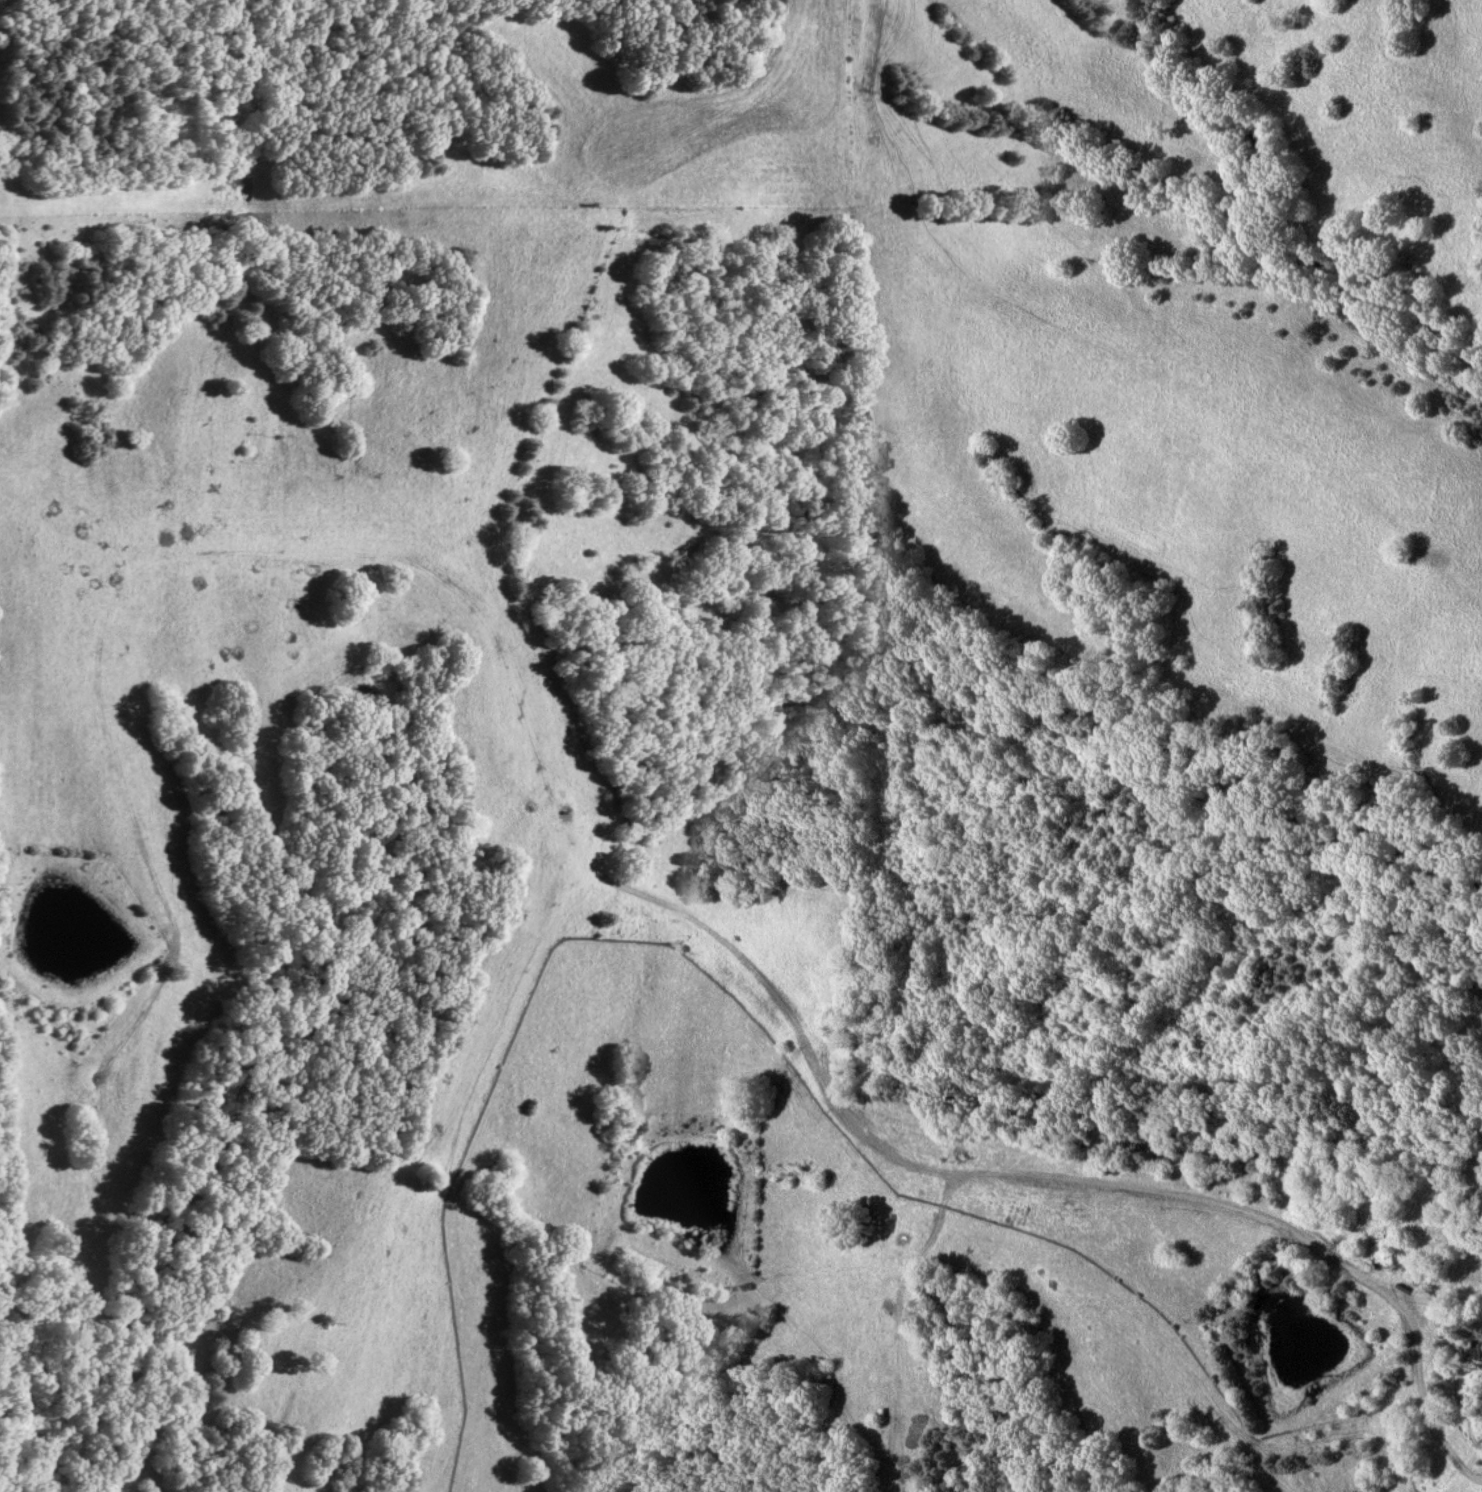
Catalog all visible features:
building: (1475, 1354)
road: (1469, 1413)

